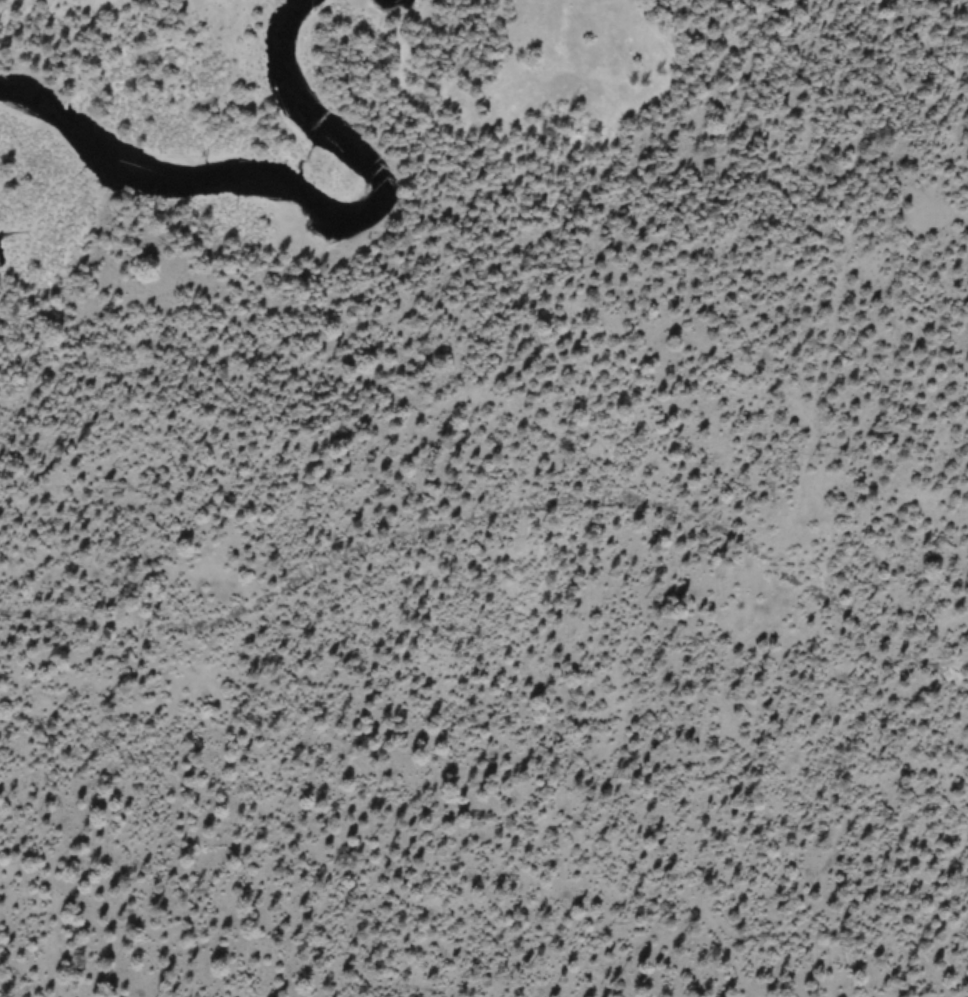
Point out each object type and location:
river: (382, 2)
river: (306, 205)
road: (501, 521)

